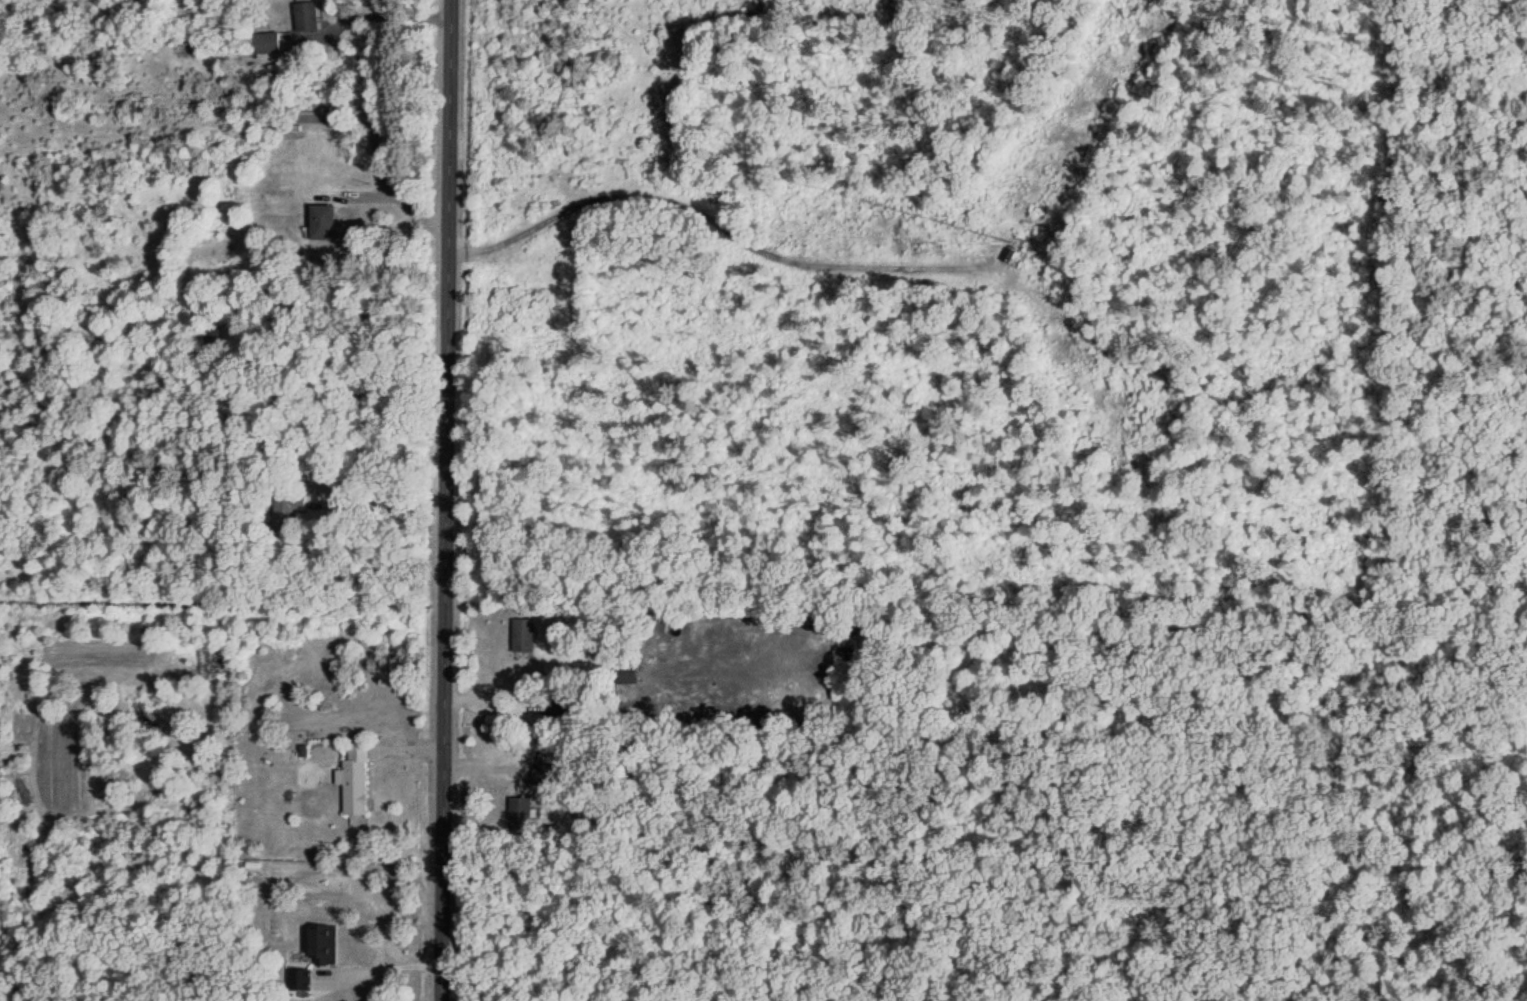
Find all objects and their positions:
road: (369, 13)
building: (306, 16)
building: (266, 42)
building: (314, 112)
road: (399, 198)
building: (322, 222)
road: (712, 225)
road: (440, 500)
road: (384, 506)
building: (288, 509)
building: (524, 635)
road: (487, 689)
building: (555, 707)
building: (545, 774)
building: (355, 779)
building: (519, 813)
building: (322, 944)
road: (381, 968)
building: (293, 981)

